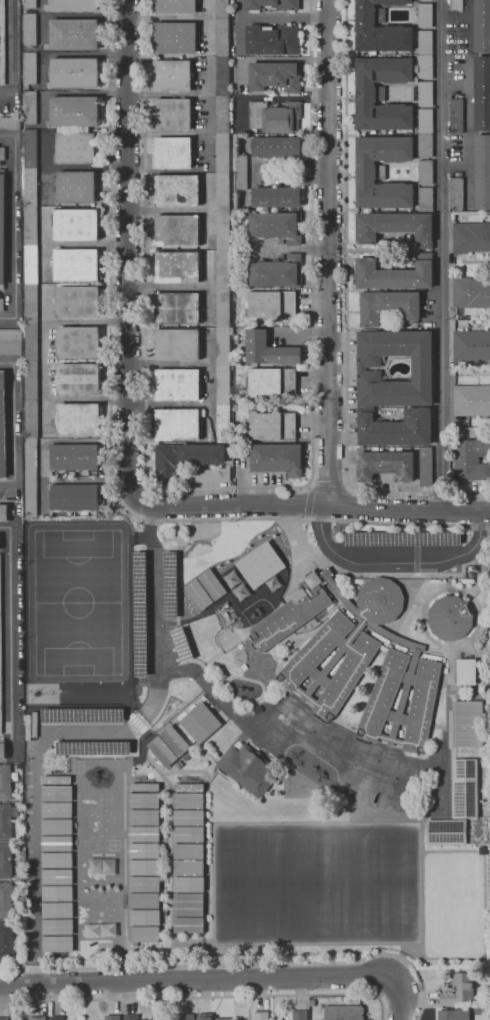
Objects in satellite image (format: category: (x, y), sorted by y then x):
building: (30, 4)
building: (273, 4)
building: (73, 5)
building: (456, 5)
building: (175, 6)
building: (425, 15)
building: (482, 26)
building: (381, 28)
building: (30, 29)
building: (74, 34)
building: (176, 38)
building: (274, 40)
building: (2, 43)
road: (10, 50)
building: (425, 55)
building: (30, 69)
building: (74, 73)
building: (173, 75)
building: (275, 76)
building: (382, 93)
building: (483, 93)
building: (426, 94)
building: (31, 107)
building: (74, 112)
building: (173, 114)
building: (275, 116)
building: (457, 116)
building: (10, 123)
building: (425, 133)
building: (275, 146)
building: (76, 148)
building: (173, 153)
building: (2, 154)
building: (241, 172)
building: (426, 172)
building: (482, 172)
building: (383, 173)
building: (76, 187)
building: (178, 191)
building: (457, 195)
building: (275, 197)
building: (426, 200)
building: (223, 221)
building: (76, 225)
building: (2, 227)
road: (11, 227)
building: (278, 227)
building: (395, 227)
building: (178, 230)
building: (471, 237)
road: (127, 250)
road: (329, 252)
road: (441, 255)
building: (76, 265)
building: (178, 267)
building: (277, 272)
building: (395, 274)
road: (168, 287)
building: (471, 292)
building: (78, 302)
building: (2, 305)
building: (271, 305)
building: (389, 306)
building: (178, 308)
road: (347, 311)
building: (31, 321)
building: (10, 342)
building: (78, 342)
building: (178, 344)
building: (471, 346)
building: (269, 350)
building: (423, 368)
building: (78, 379)
building: (272, 381)
building: (178, 385)
building: (472, 400)
building: (79, 420)
building: (178, 424)
building: (272, 425)
building: (3, 426)
road: (11, 426)
building: (396, 428)
road: (109, 440)
building: (203, 455)
building: (75, 457)
building: (278, 459)
building: (471, 459)
building: (166, 464)
building: (386, 465)
building: (426, 466)
building: (207, 475)
road: (309, 484)
road: (350, 486)
road: (228, 487)
road: (315, 487)
building: (75, 498)
road: (325, 504)
road: (228, 505)
road: (409, 509)
building: (3, 513)
road: (307, 516)
flagpole: (307, 534)
building: (404, 537)
parking lot: (403, 538)
road: (397, 562)
building: (262, 564)
building: (171, 583)
building: (253, 591)
building: (141, 612)
parking lot: (156, 615)
building: (451, 617)
building: (230, 622)
road: (8, 628)
building: (183, 643)
building: (355, 658)
building: (1, 659)
road: (180, 668)
building: (466, 672)
building: (83, 713)
building: (201, 723)
building: (468, 724)
road: (79, 731)
parking lot: (92, 731)
building: (175, 741)
building: (94, 746)
building: (2, 750)
building: (162, 751)
building: (247, 770)
park: (372, 772)
building: (55, 779)
building: (5, 782)
building: (145, 786)
building: (190, 786)
building: (465, 788)
building: (56, 793)
park: (373, 797)
building: (143, 799)
building: (188, 800)
building: (57, 809)
park: (86, 813)
building: (144, 816)
building: (188, 817)
building: (8, 822)
building: (56, 826)
building: (447, 832)
building: (143, 833)
building: (188, 833)
building: (57, 843)
building: (143, 850)
building: (188, 850)
building: (7, 860)
building: (57, 860)
building: (144, 867)
building: (188, 867)
building: (57, 876)
park: (316, 882)
building: (143, 883)
building: (188, 884)
building: (56, 893)
building: (7, 900)
building: (144, 900)
building: (188, 903)
building: (57, 909)
park: (99, 913)
building: (144, 917)
building: (188, 924)
building: (57, 926)
building: (144, 933)
building: (6, 939)
building: (57, 943)
road: (238, 965)
road: (219, 982)
building: (459, 990)
road: (201, 997)
building: (344, 1012)
building: (454, 1014)
building: (300, 1015)
building: (262, 1016)
building: (112, 1017)
building: (131, 1017)
building: (187, 1017)
building: (211, 1017)
building: (37, 1018)
building: (57, 1018)
building: (4, 1019)

